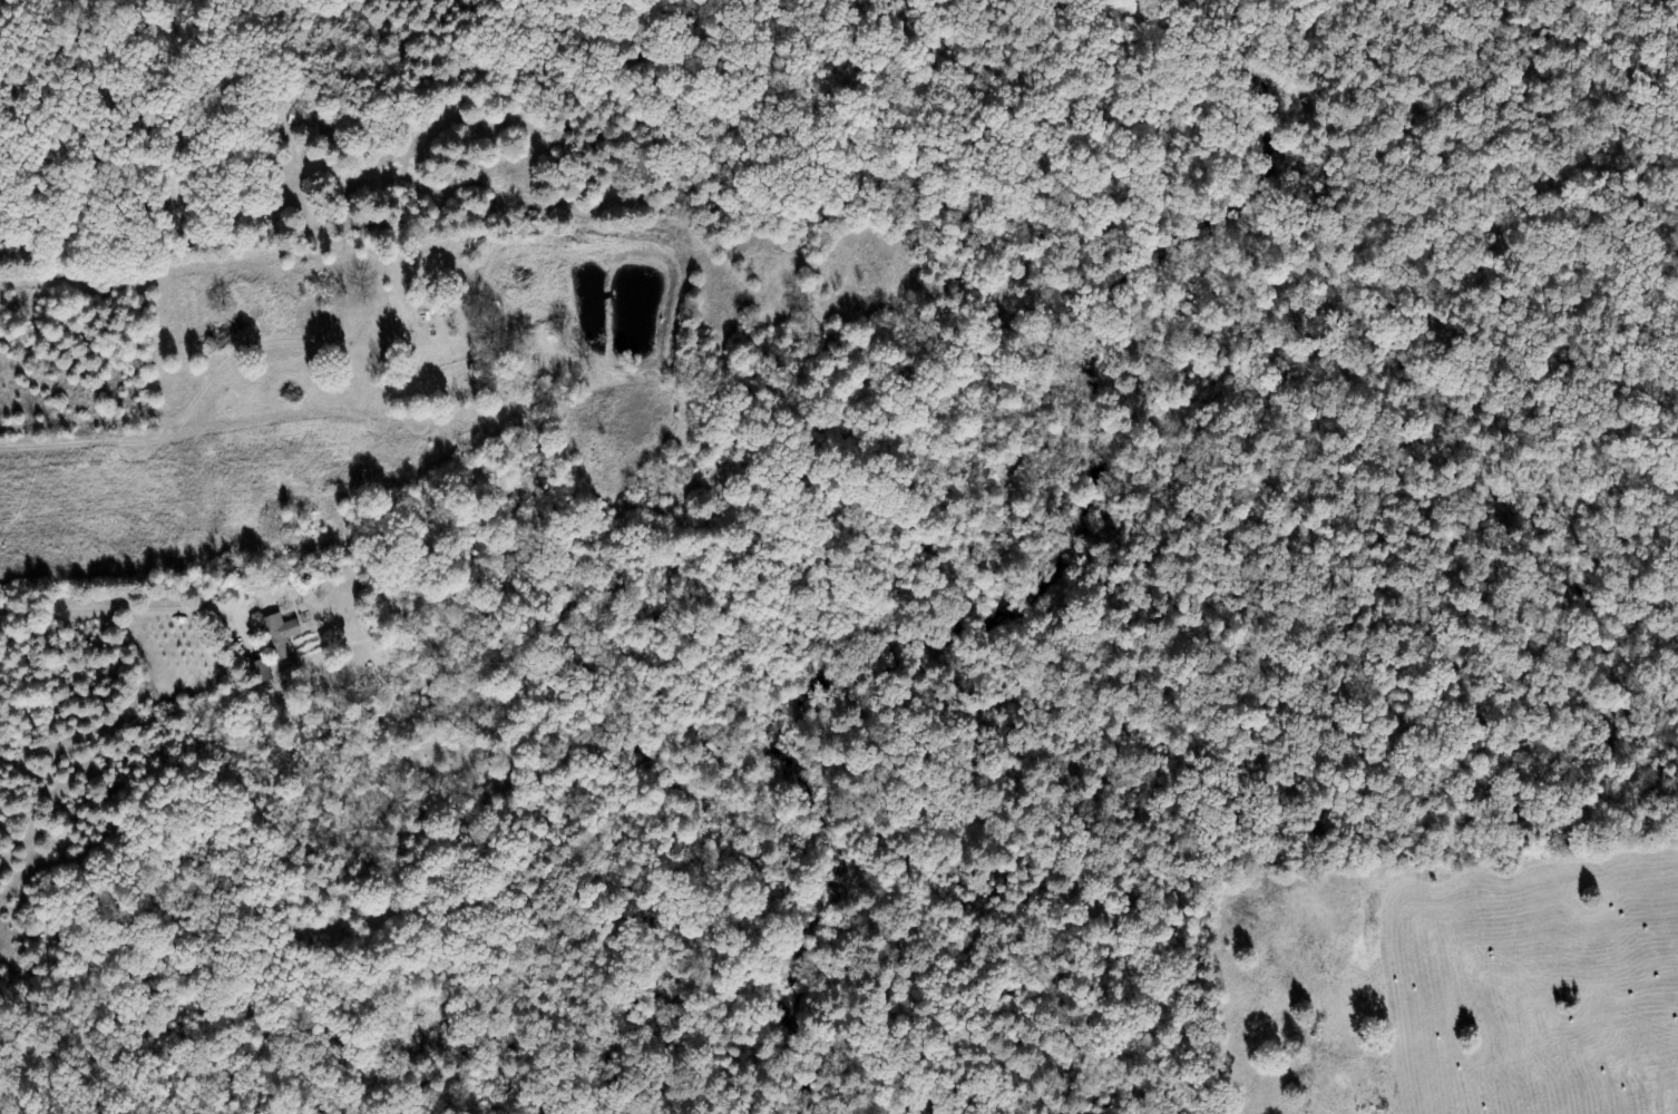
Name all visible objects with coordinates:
road: (206, 520)
building: (279, 637)

